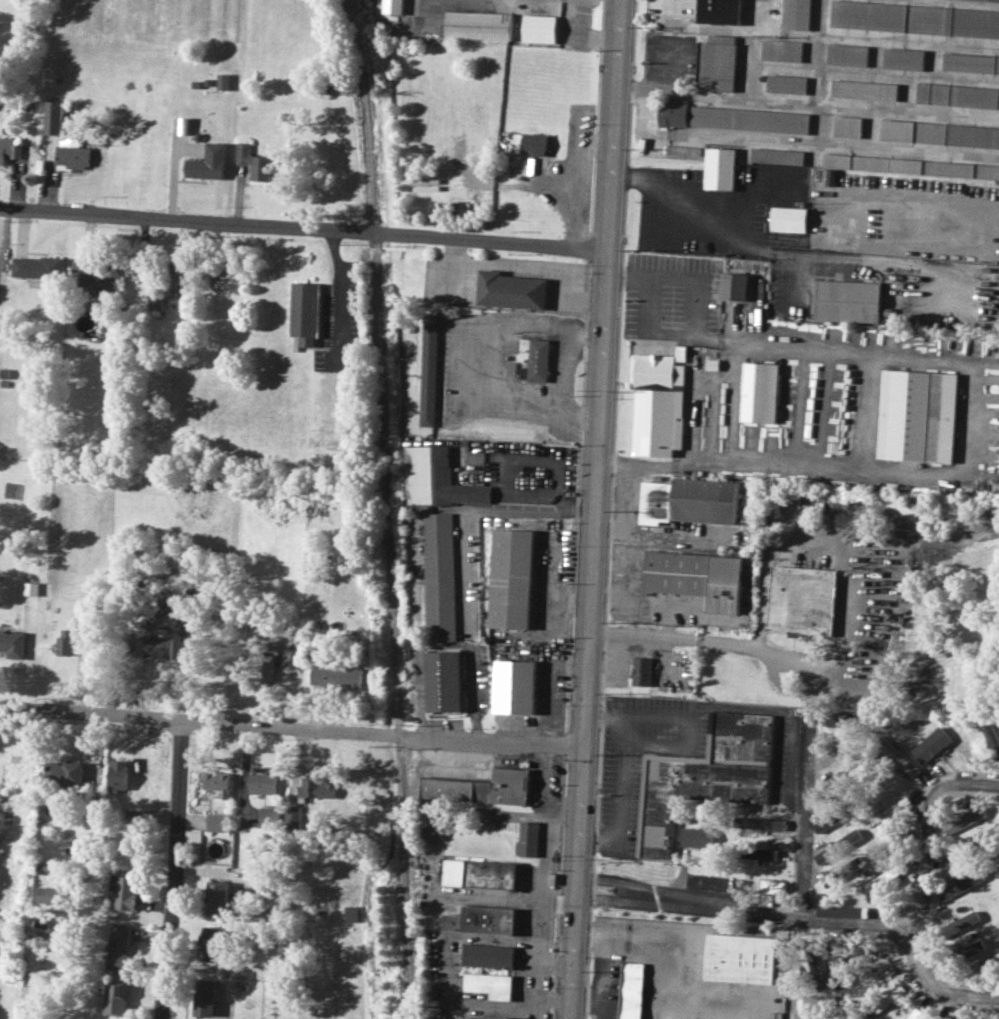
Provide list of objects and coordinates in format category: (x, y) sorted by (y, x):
building: (393, 6)
building: (721, 11)
building: (797, 14)
building: (915, 18)
building: (479, 25)
road: (723, 27)
building: (540, 28)
building: (782, 50)
building: (848, 54)
building: (904, 58)
building: (971, 62)
building: (718, 63)
building: (223, 81)
building: (787, 83)
building: (864, 89)
building: (958, 95)
building: (674, 113)
building: (53, 117)
building: (750, 119)
building: (848, 126)
building: (939, 133)
building: (535, 143)
building: (72, 153)
building: (778, 155)
building: (207, 162)
building: (254, 162)
building: (911, 166)
building: (720, 168)
building: (789, 219)
road: (750, 223)
road: (308, 231)
road: (851, 258)
building: (37, 269)
building: (94, 274)
building: (177, 275)
building: (736, 286)
building: (511, 289)
road: (338, 298)
building: (848, 300)
building: (155, 301)
building: (304, 312)
building: (535, 361)
road: (459, 363)
road: (566, 368)
building: (432, 372)
building: (761, 392)
road: (970, 398)
building: (658, 405)
building: (918, 415)
building: (438, 480)
road: (549, 494)
building: (690, 501)
road: (624, 507)
railway: (389, 509)
road: (603, 509)
road: (831, 551)
building: (697, 577)
building: (440, 578)
building: (512, 578)
building: (802, 599)
building: (176, 604)
building: (0, 629)
road: (655, 637)
building: (64, 641)
building: (12, 643)
building: (159, 647)
building: (292, 657)
building: (266, 668)
building: (641, 671)
building: (336, 675)
building: (444, 682)
road: (811, 682)
road: (778, 683)
building: (517, 686)
road: (294, 733)
building: (990, 733)
building: (899, 756)
building: (63, 771)
building: (118, 774)
building: (705, 776)
road: (623, 777)
building: (217, 782)
building: (263, 783)
building: (317, 787)
building: (484, 789)
road: (807, 806)
building: (896, 808)
building: (292, 816)
building: (269, 817)
road: (929, 818)
building: (964, 820)
building: (216, 822)
building: (993, 830)
building: (697, 836)
building: (529, 839)
building: (877, 851)
building: (758, 853)
building: (950, 860)
road: (177, 872)
building: (839, 873)
building: (481, 875)
building: (880, 879)
building: (961, 885)
building: (124, 891)
building: (771, 891)
building: (48, 894)
building: (217, 897)
road: (754, 904)
building: (352, 913)
building: (482, 920)
building: (961, 922)
building: (212, 943)
building: (119, 946)
building: (972, 949)
building: (740, 957)
building: (988, 963)
building: (489, 971)
road: (933, 982)
building: (632, 990)
building: (116, 997)
building: (205, 997)
building: (813, 1004)
building: (488, 1017)

